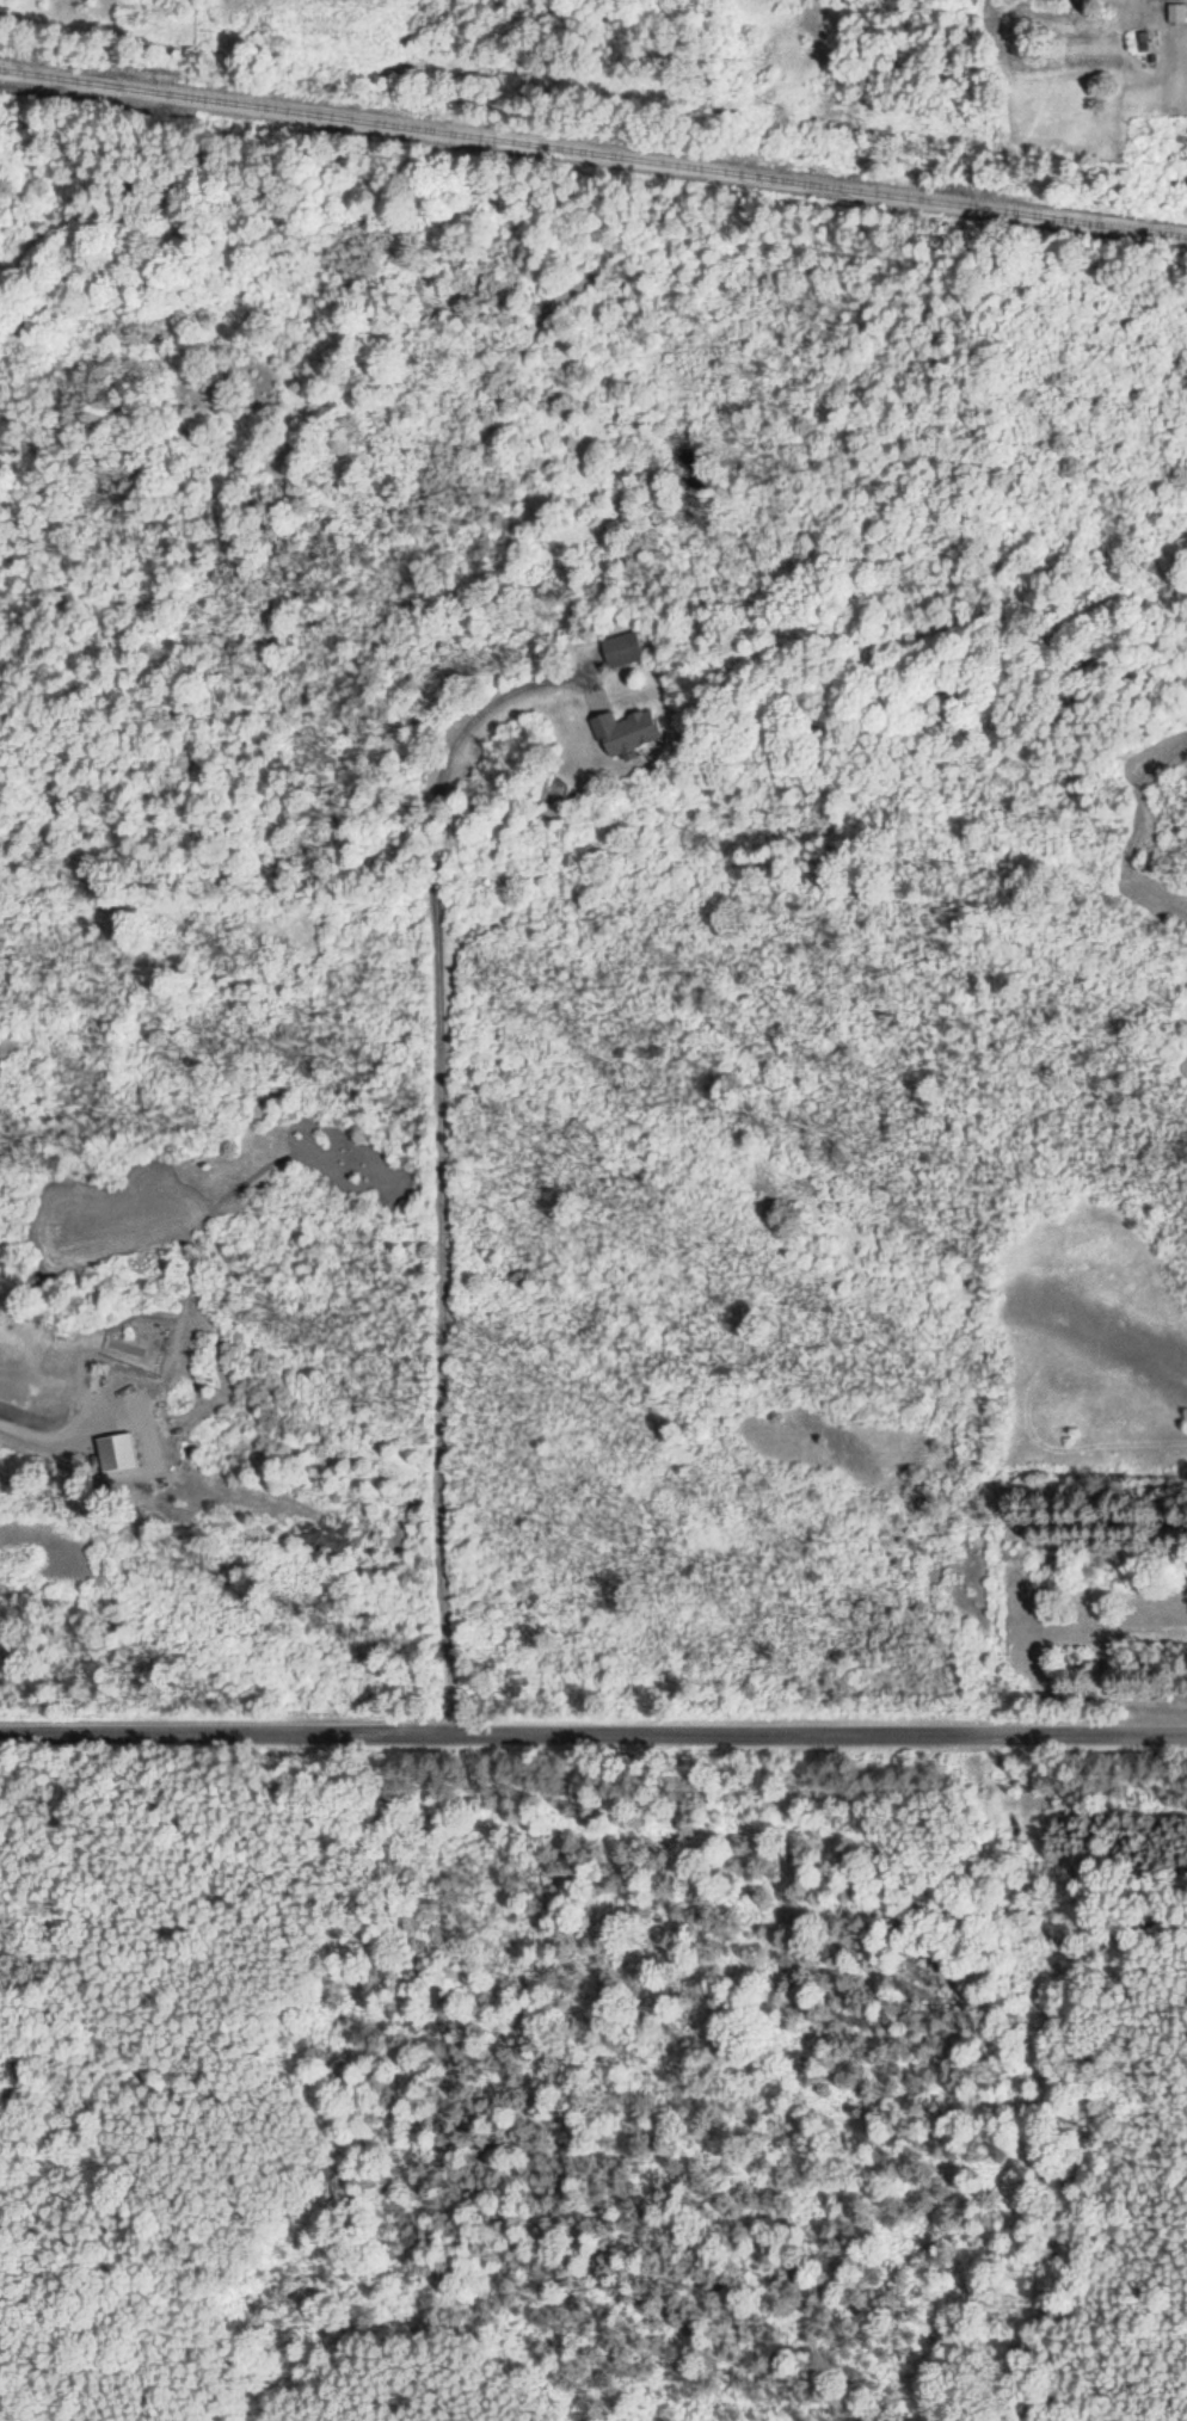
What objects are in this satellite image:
building: (1176, 11)
railway: (593, 146)
building: (621, 648)
building: (623, 729)
road: (593, 1732)

